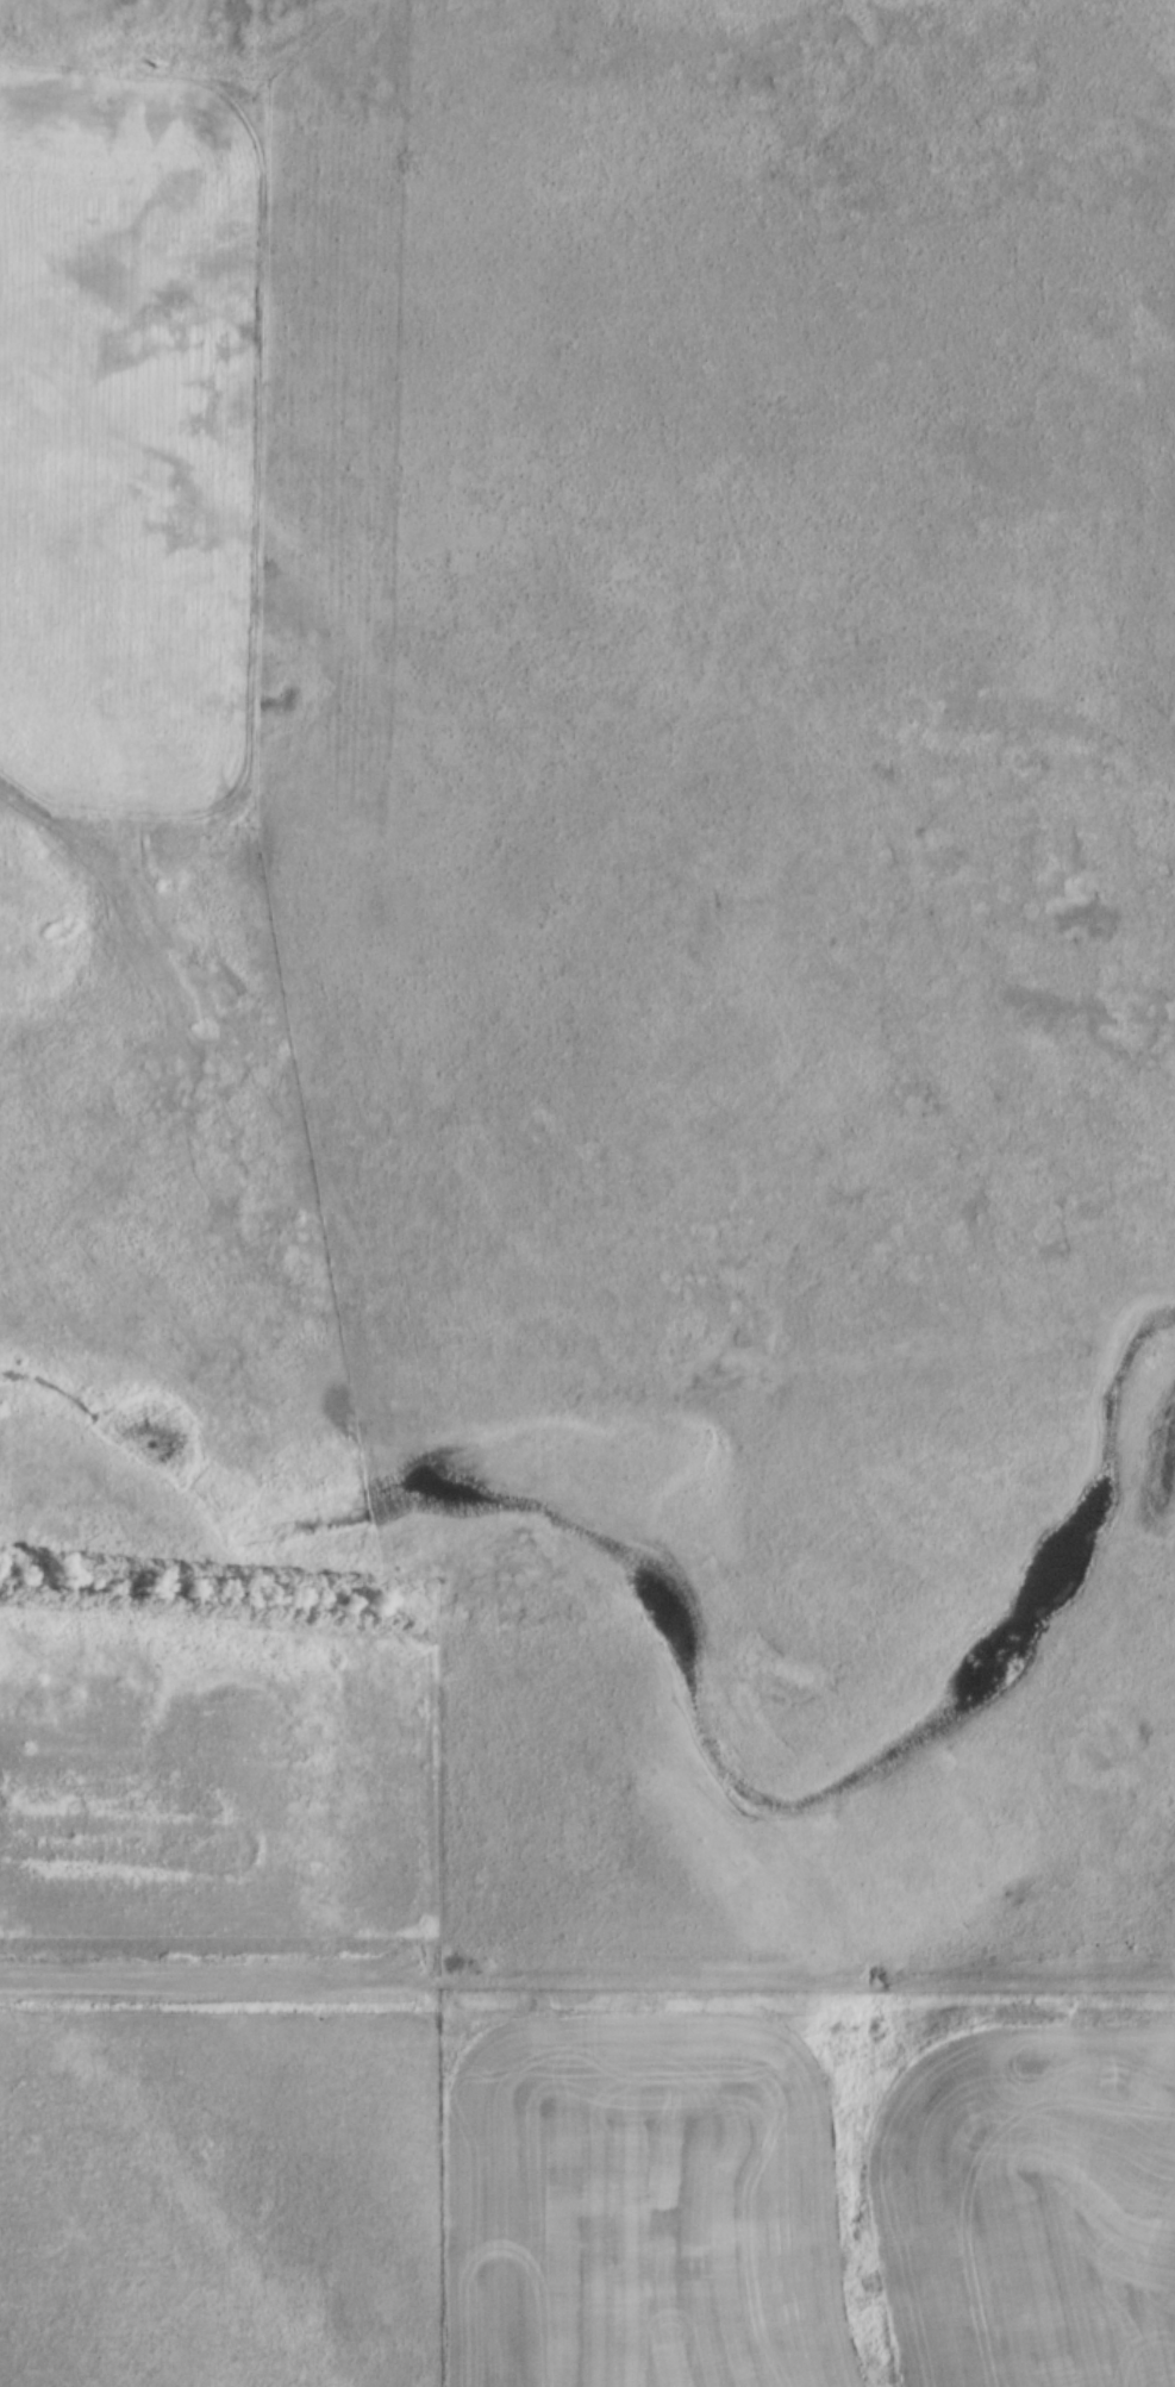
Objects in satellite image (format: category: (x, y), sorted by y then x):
road: (587, 1931)

